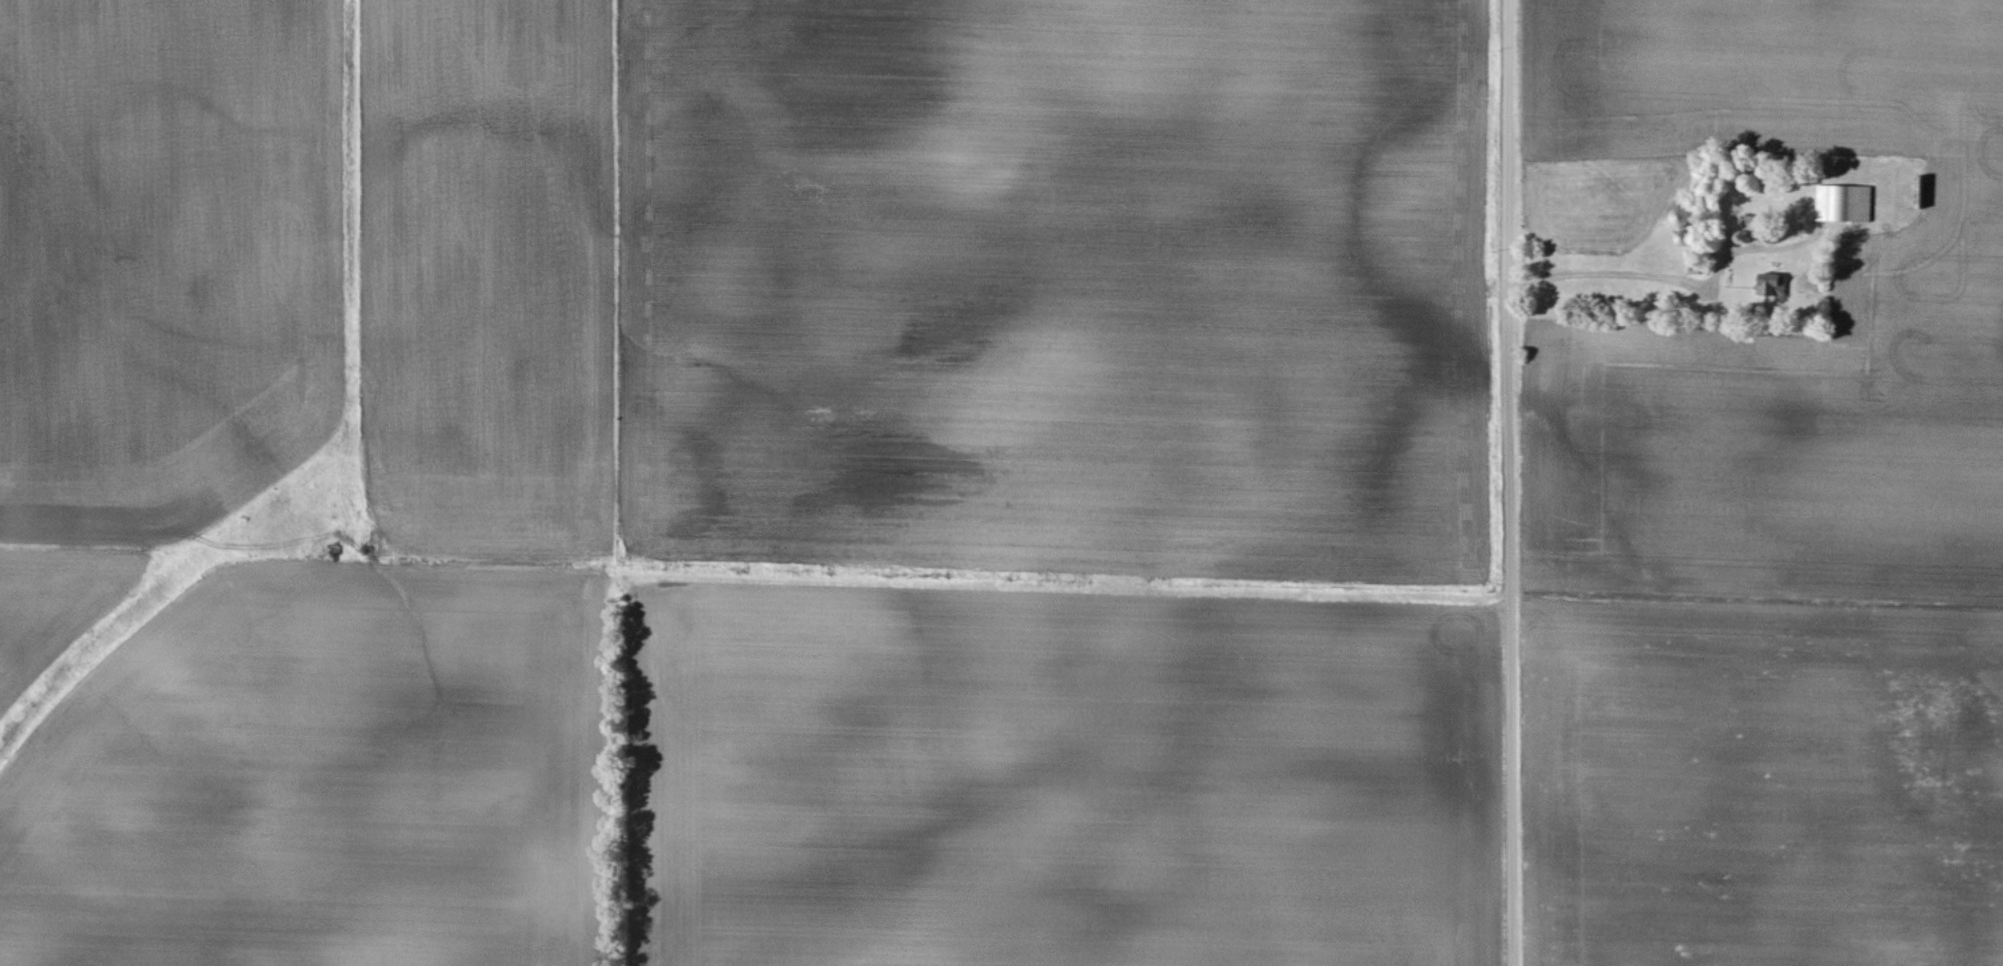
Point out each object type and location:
building: (1846, 204)
road: (1608, 274)
road: (1509, 482)

